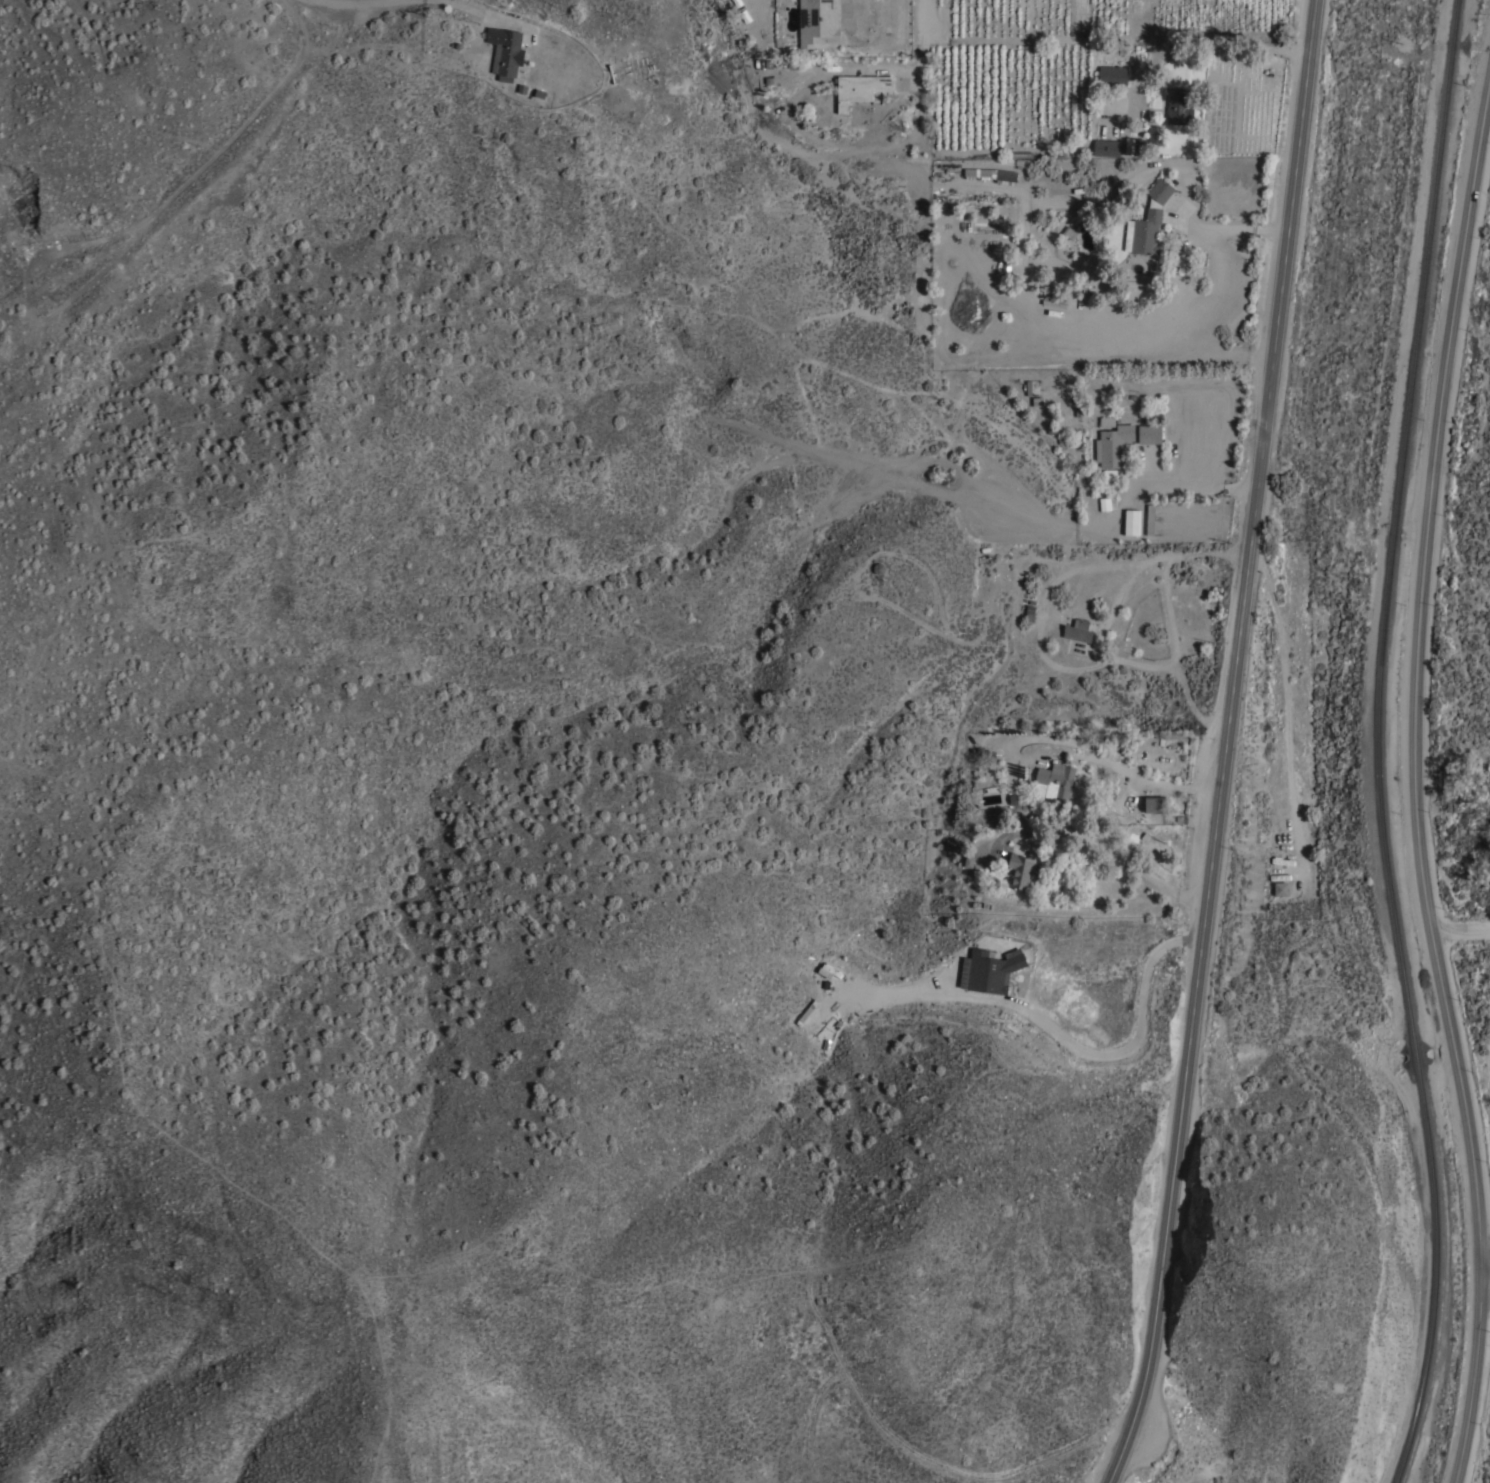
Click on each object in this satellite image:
road: (365, 2)
building: (738, 5)
road: (488, 9)
building: (818, 21)
building: (505, 52)
road: (925, 62)
building: (1112, 75)
building: (860, 88)
building: (1178, 108)
building: (1155, 134)
building: (1106, 147)
building: (1132, 149)
building: (991, 174)
building: (1147, 221)
railway: (1423, 308)
building: (1031, 387)
building: (1077, 403)
building: (1107, 421)
building: (1149, 433)
building: (1112, 445)
building: (1109, 474)
road: (1198, 485)
building: (1103, 504)
building: (1149, 518)
building: (1131, 521)
building: (1029, 612)
building: (1078, 630)
road: (1290, 703)
road: (1224, 744)
road: (1145, 774)
building: (1054, 780)
road: (1418, 780)
building: (1154, 803)
road: (1114, 850)
building: (1020, 870)
building: (1280, 888)
railway: (1393, 903)
road: (1462, 928)
building: (989, 972)
road: (1138, 1040)
road: (1485, 1277)
railway: (1433, 1337)

